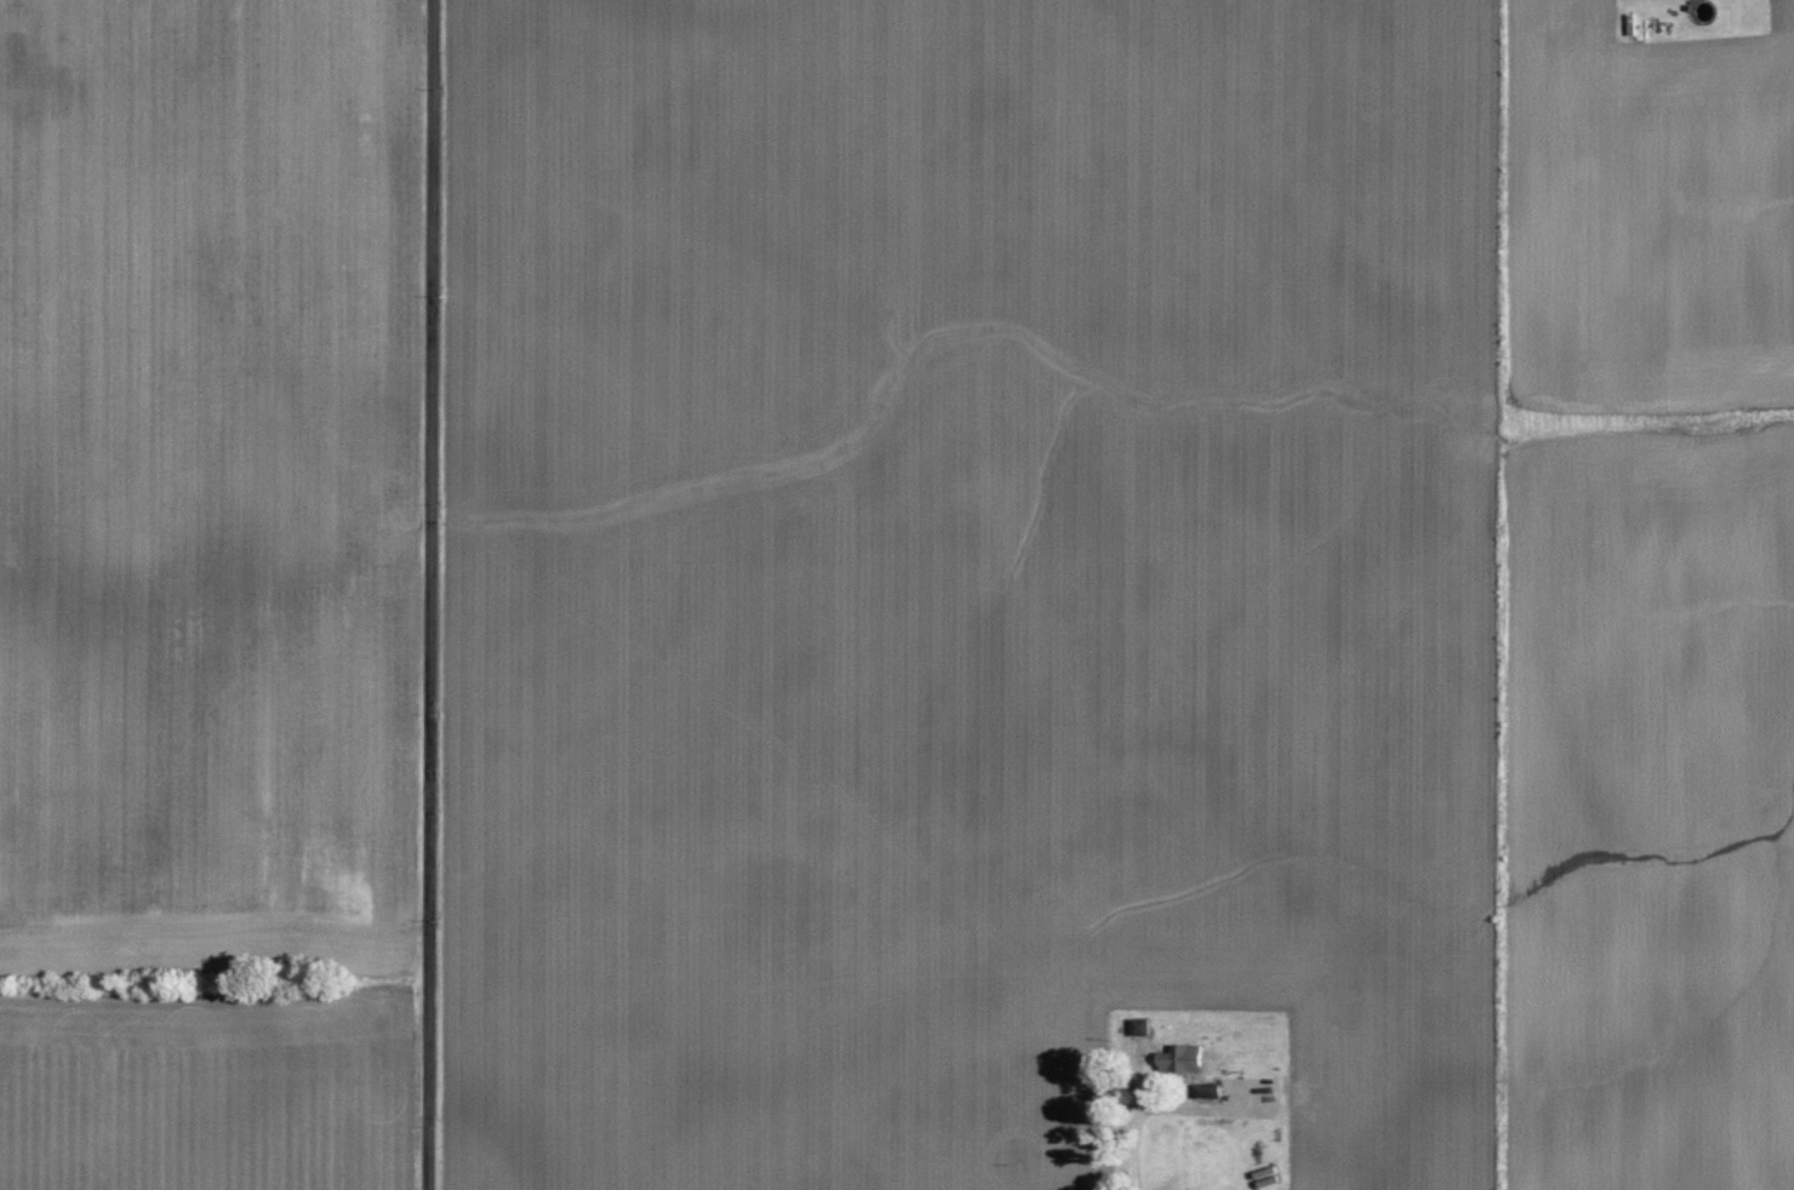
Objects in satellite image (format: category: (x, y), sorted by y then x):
road: (432, 595)
building: (1181, 1058)
road: (1142, 1111)

